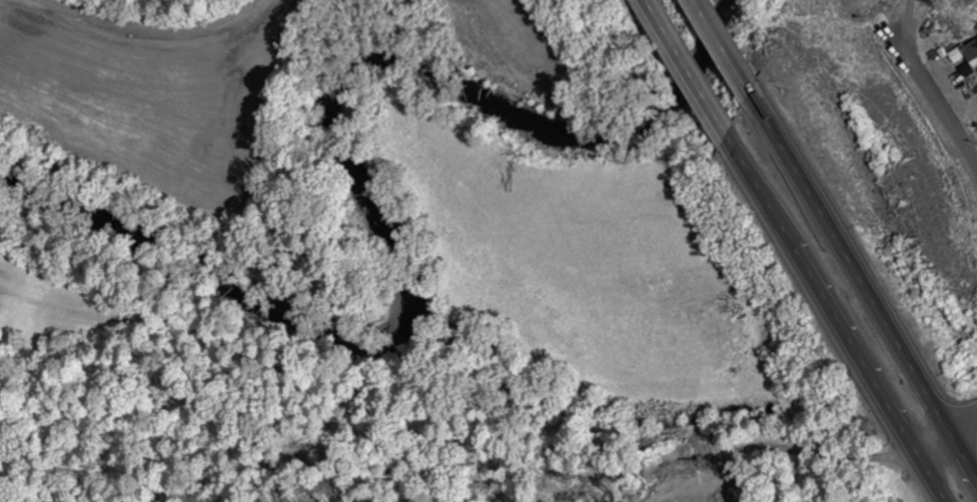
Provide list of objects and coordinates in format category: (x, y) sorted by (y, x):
road: (726, 47)
building: (966, 55)
road: (689, 68)
road: (932, 96)
road: (864, 281)
road: (836, 319)
road: (946, 435)

